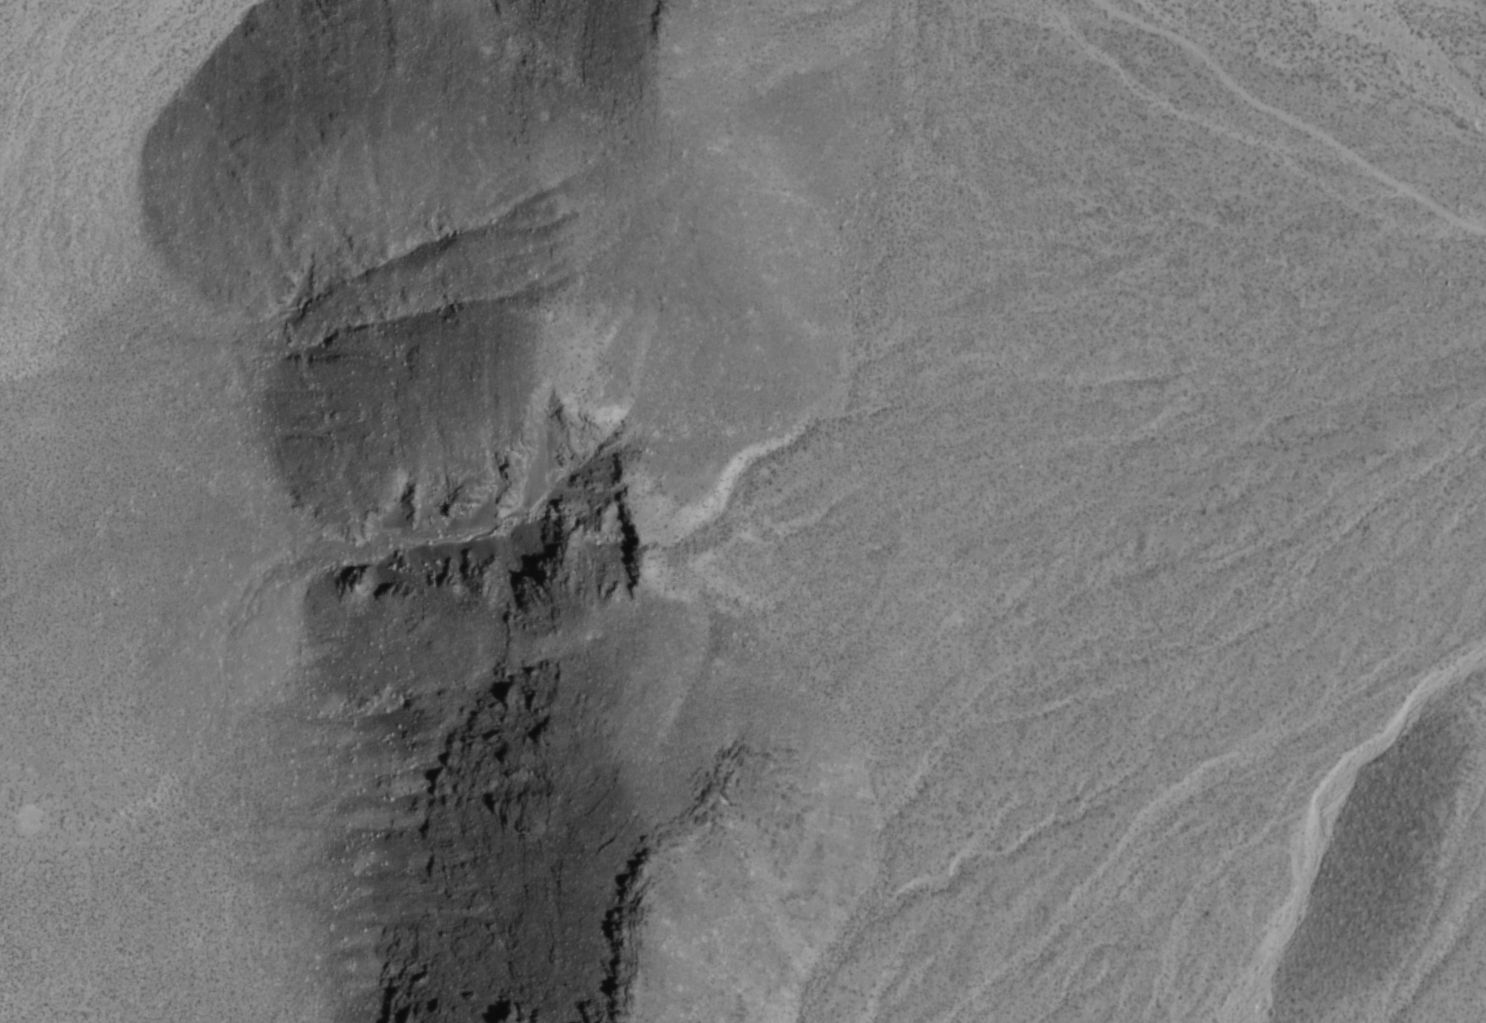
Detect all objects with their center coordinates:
road: (1288, 121)

